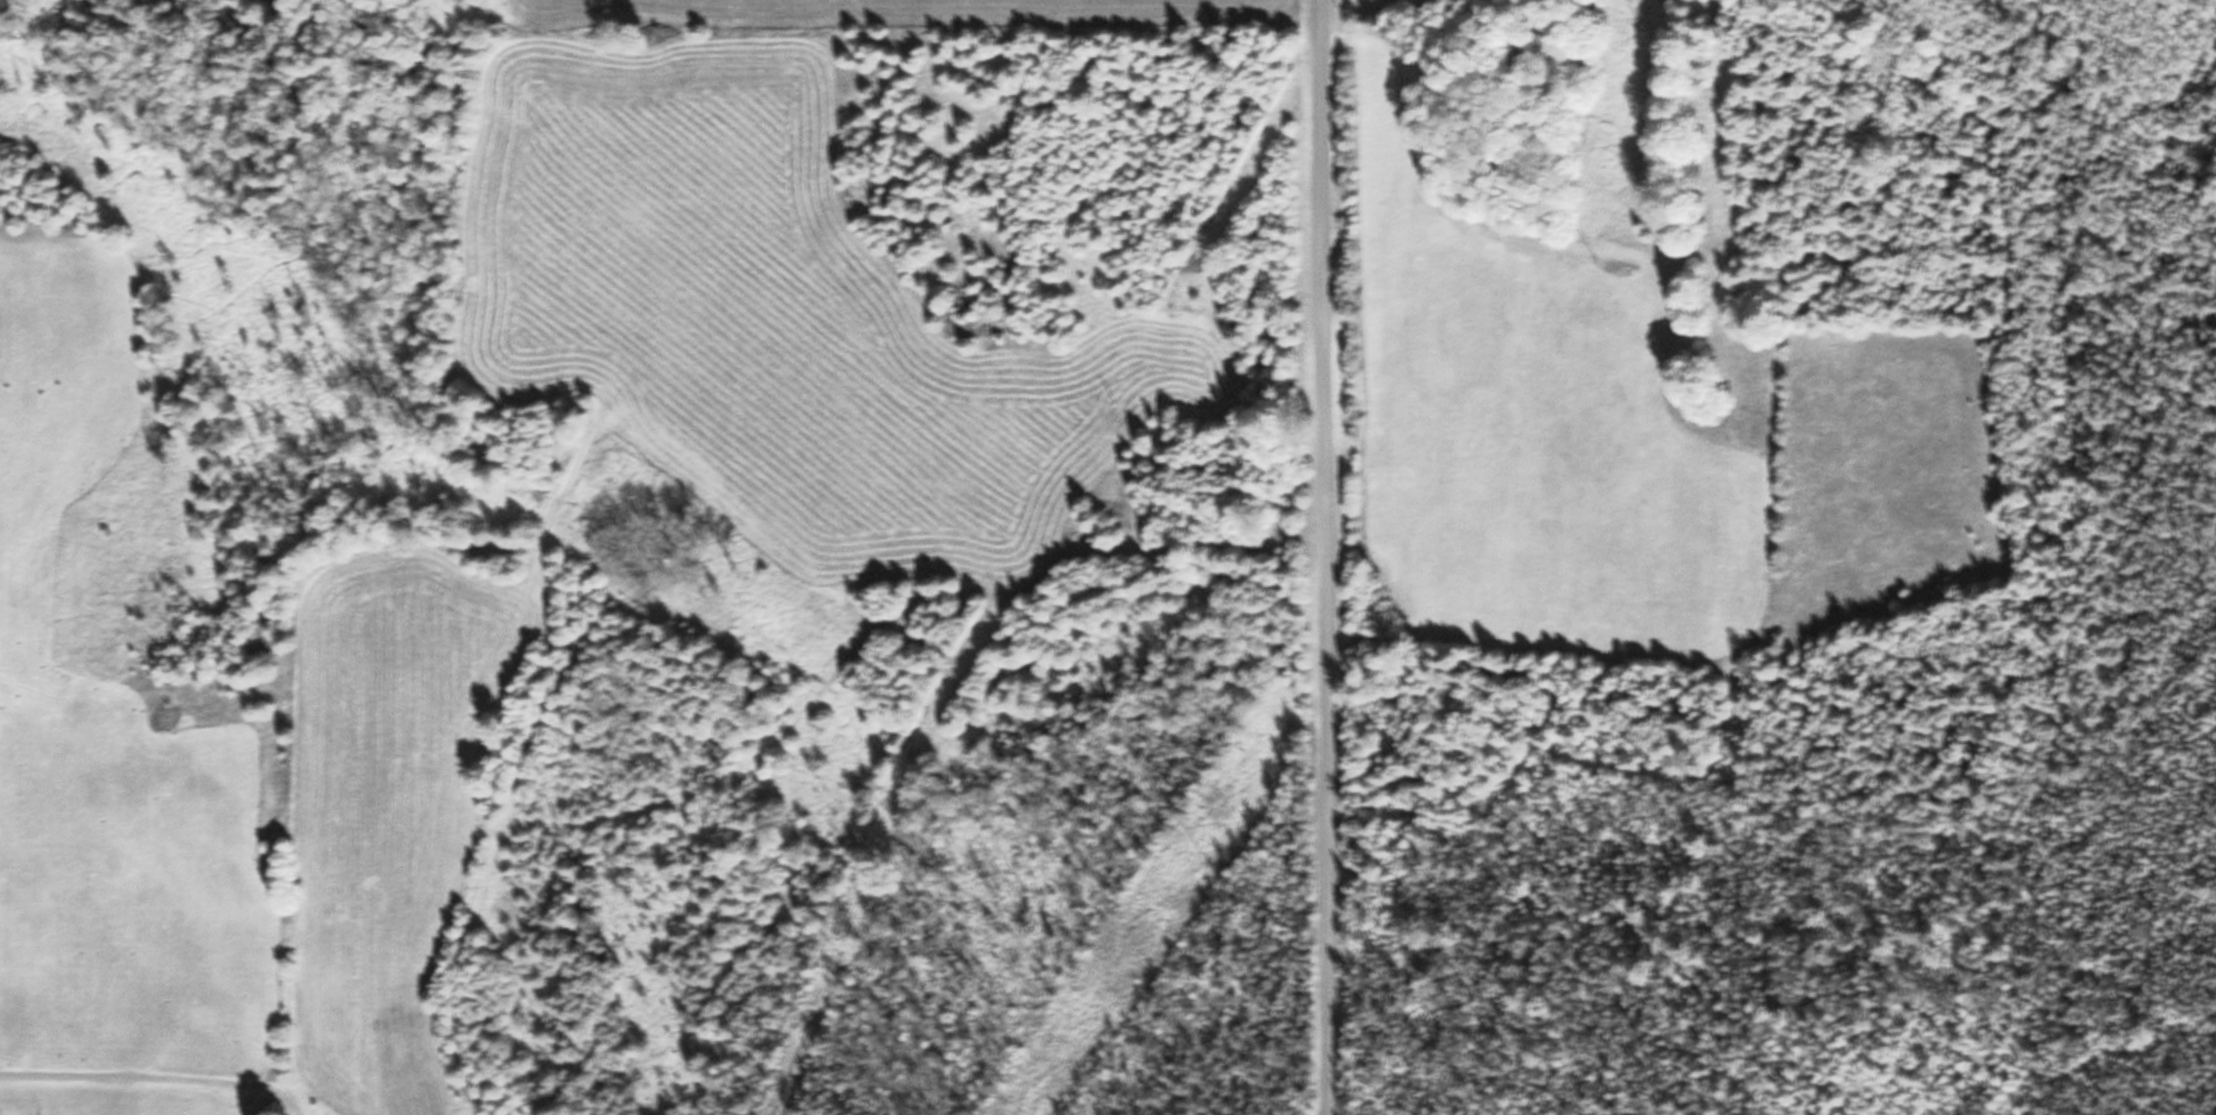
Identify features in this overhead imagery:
road: (1324, 556)
road: (153, 1087)

